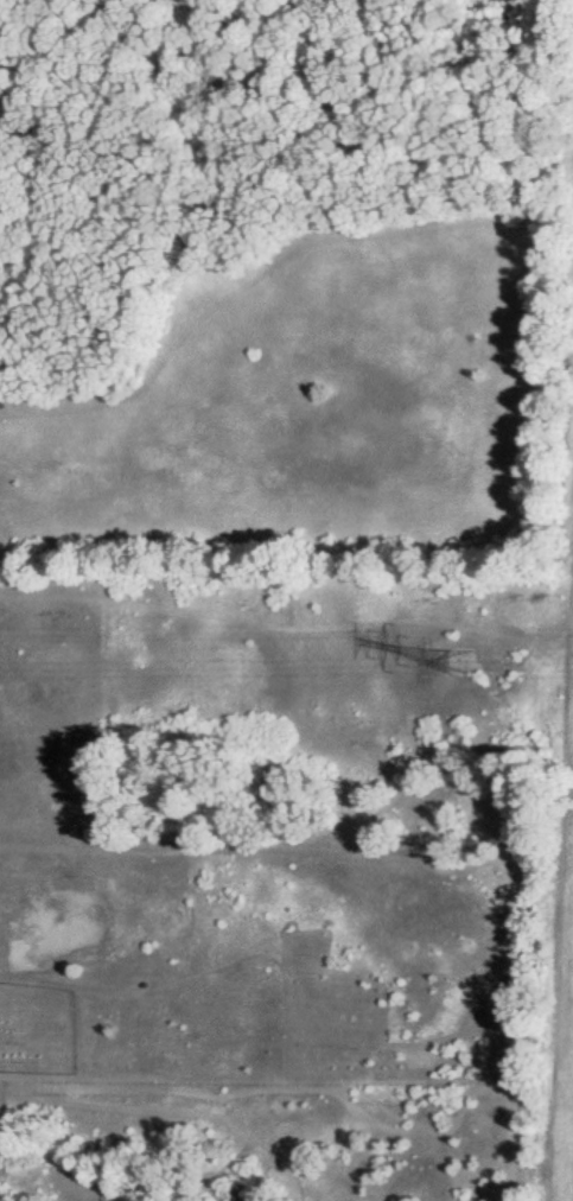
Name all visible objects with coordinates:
power tower: (465, 657)

